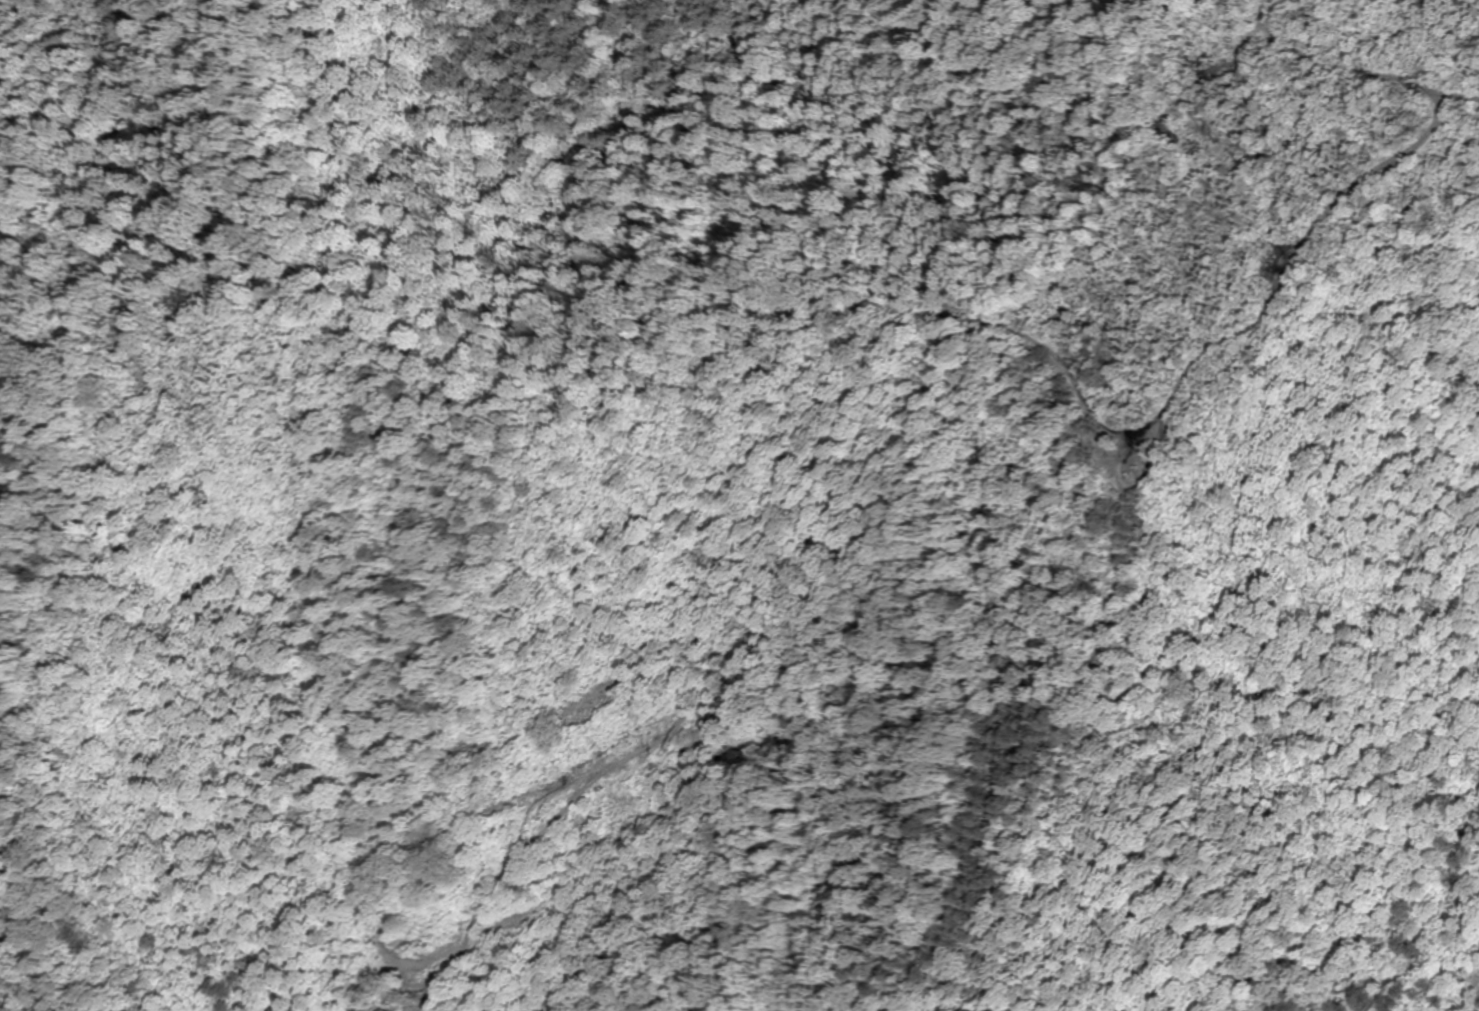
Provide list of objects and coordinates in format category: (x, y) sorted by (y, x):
road: (1009, 405)
road: (784, 643)

